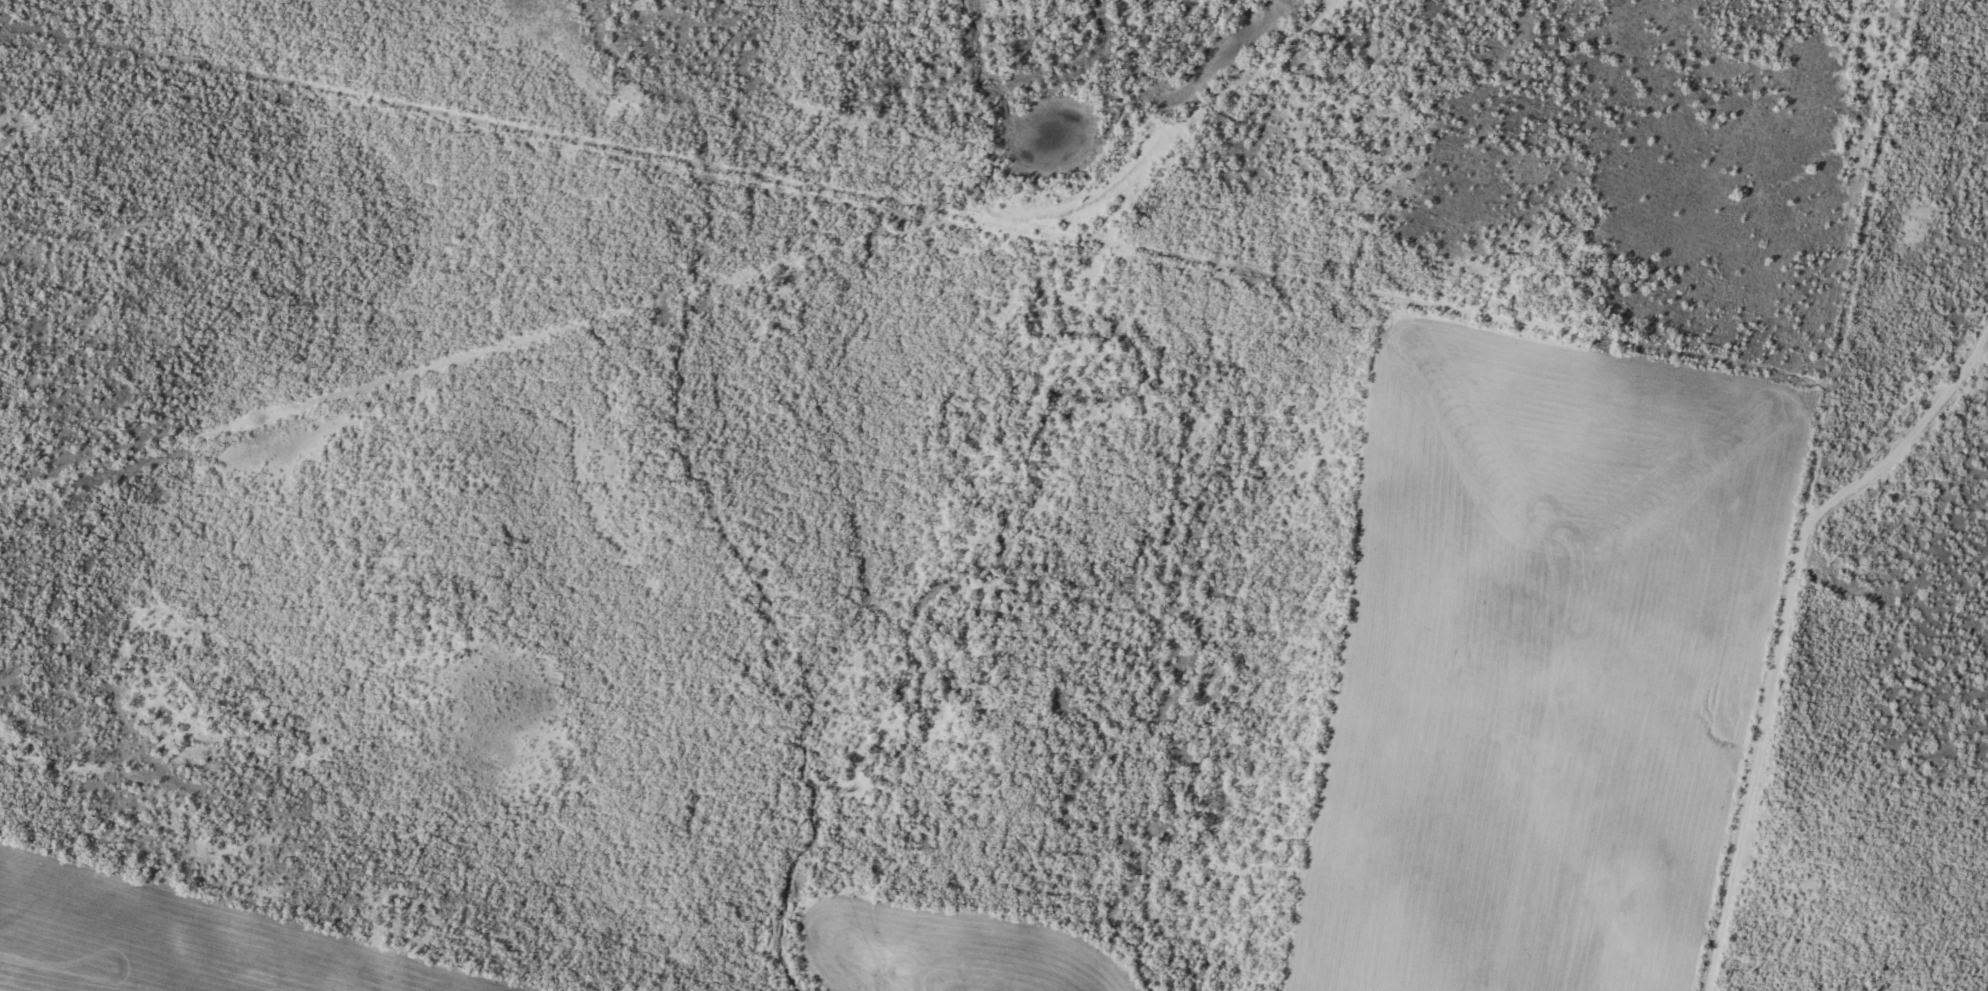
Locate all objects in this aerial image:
road: (1783, 640)

